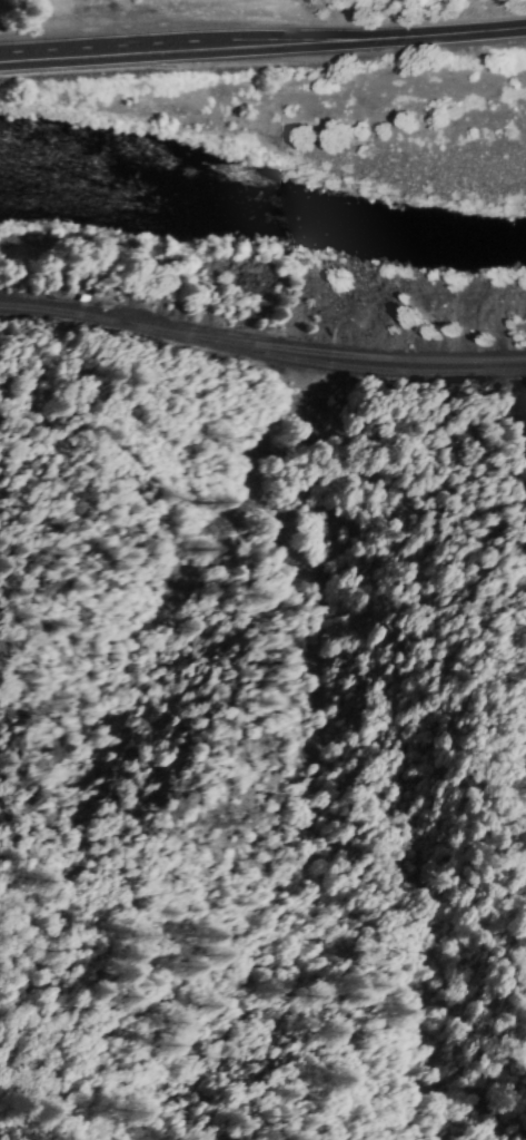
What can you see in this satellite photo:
road: (444, 31)
road: (181, 47)
river: (261, 208)
railway: (261, 344)
railway: (300, 358)

